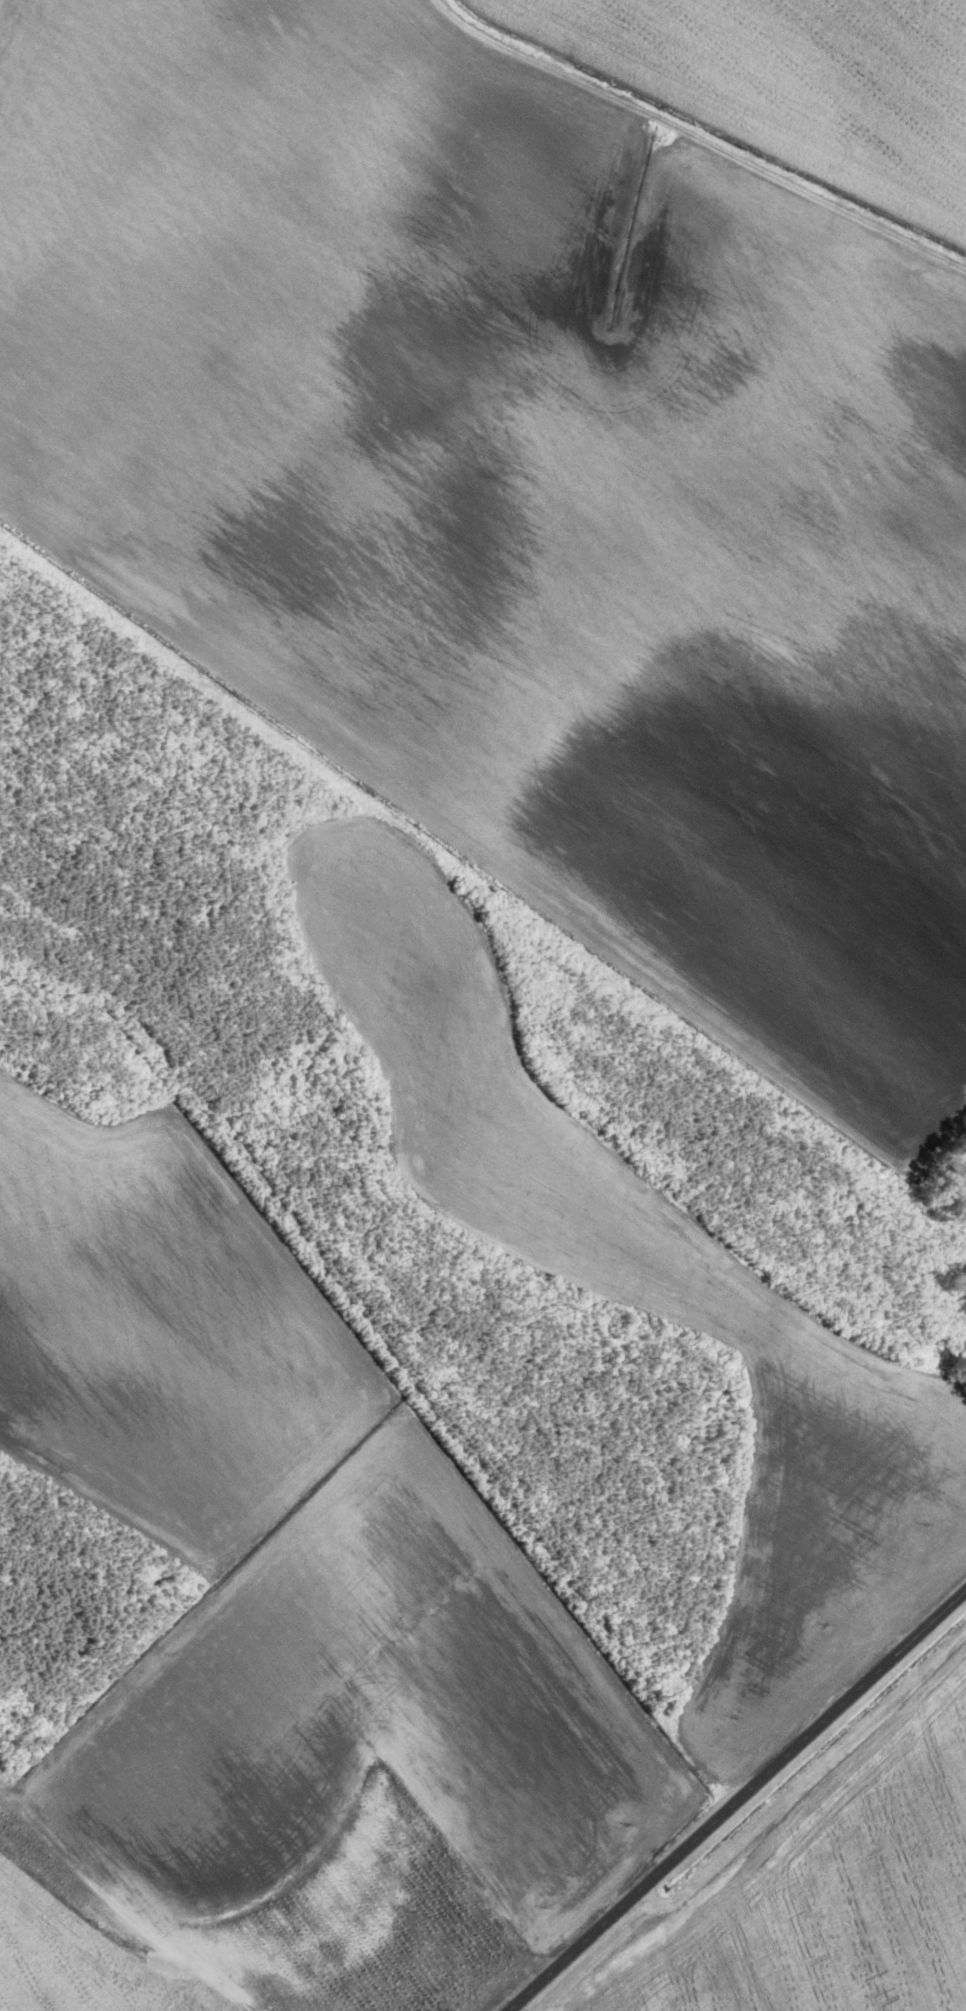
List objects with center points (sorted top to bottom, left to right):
road: (737, 1800)

